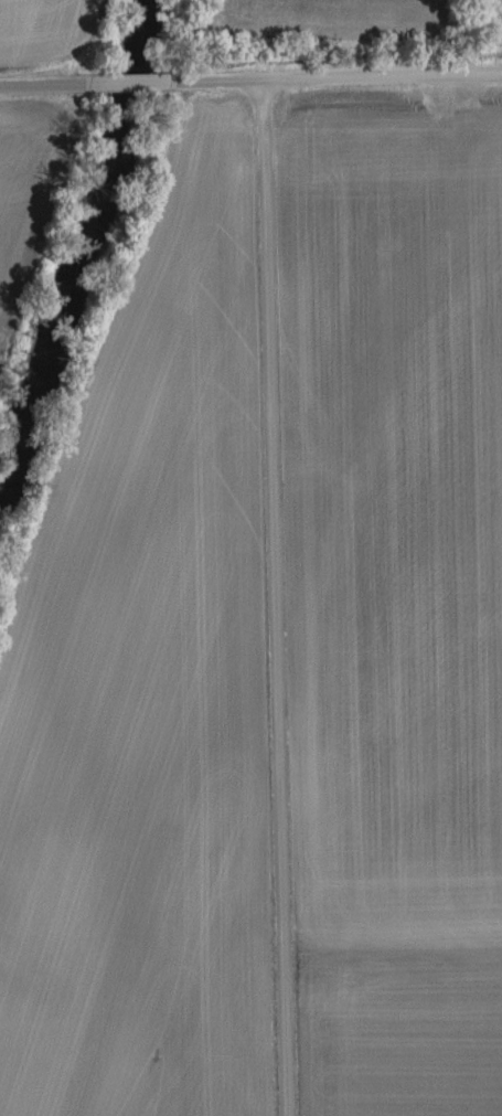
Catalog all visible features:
road: (250, 86)
road: (276, 600)

